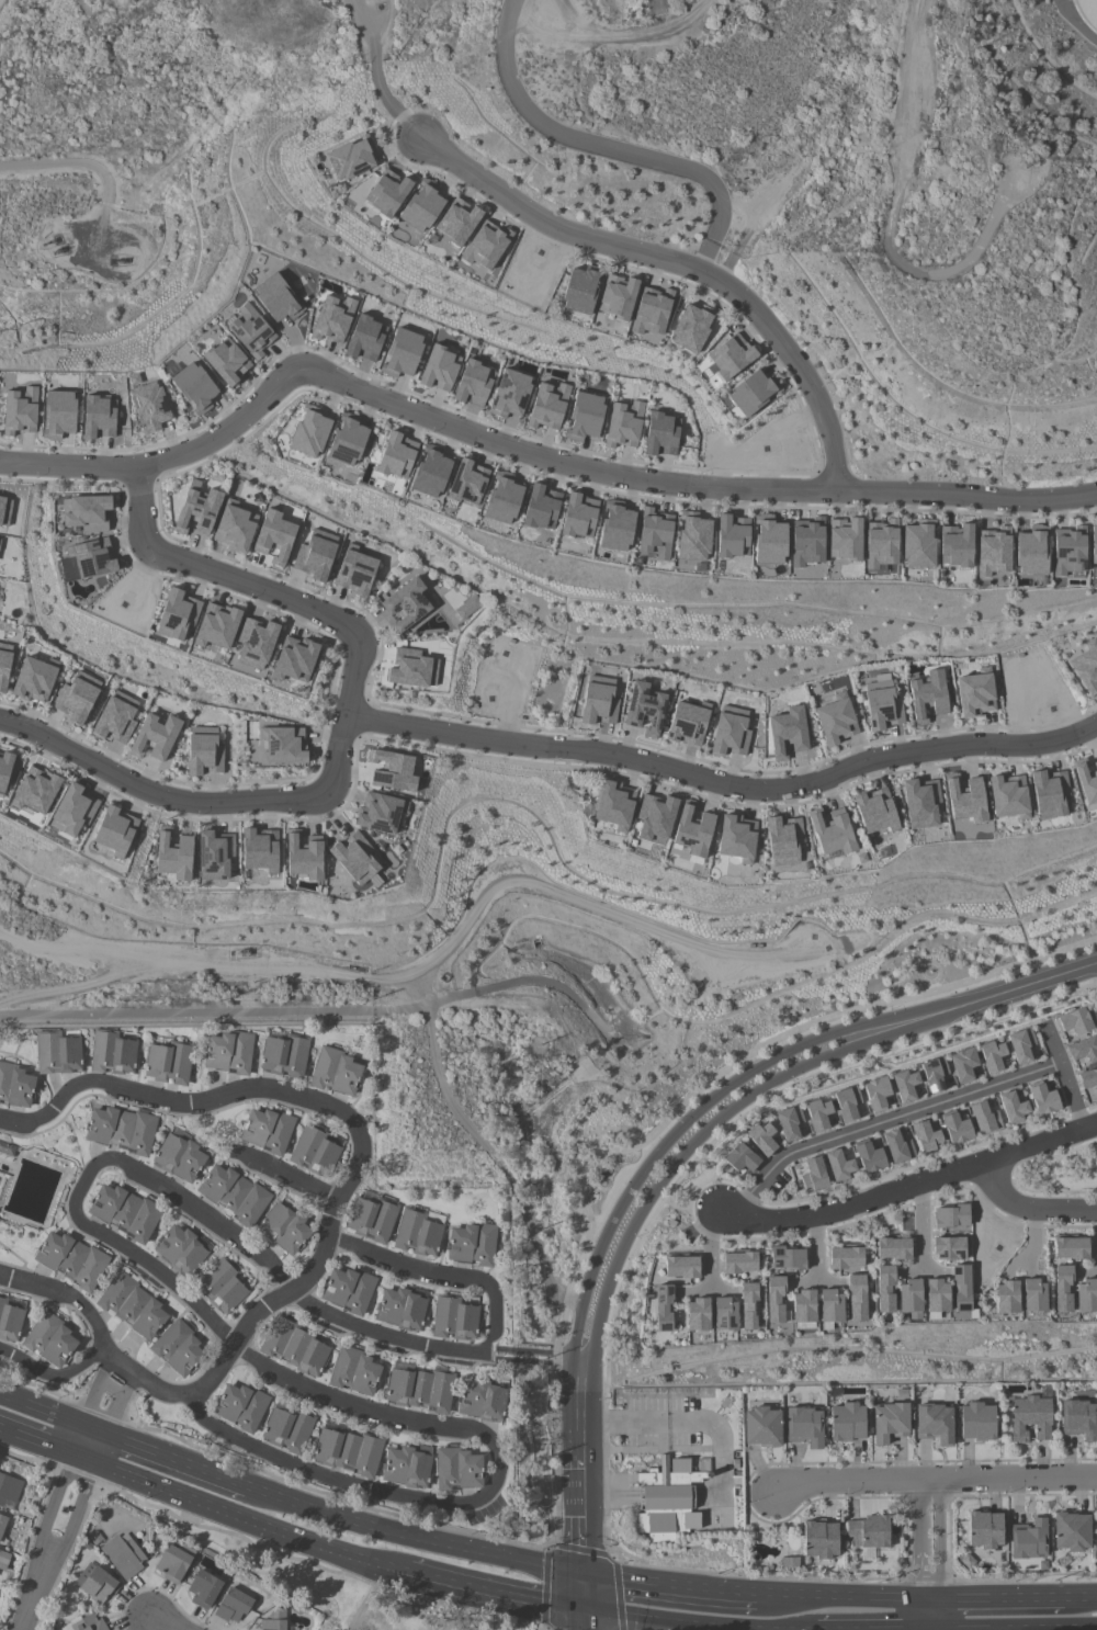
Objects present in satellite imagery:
building: (1083, 15)
storage tank: (1083, 15)
road: (638, 38)
road: (382, 75)
road: (606, 146)
building: (350, 159)
road: (77, 161)
building: (386, 192)
building: (421, 206)
building: (456, 220)
petroleum well: (49, 241)
building: (485, 245)
petroleum well: (59, 248)
road: (900, 250)
petroleum well: (121, 260)
road: (686, 264)
building: (579, 290)
building: (617, 296)
building: (276, 298)
building: (651, 310)
building: (335, 317)
building: (690, 328)
building: (250, 330)
building: (365, 338)
building: (400, 352)
building: (730, 355)
building: (226, 360)
building: (439, 369)
building: (473, 383)
building: (194, 386)
building: (509, 393)
building: (750, 393)
building: (147, 403)
building: (547, 405)
building: (20, 410)
building: (58, 414)
building: (584, 416)
building: (98, 417)
building: (623, 425)
building: (309, 431)
building: (661, 434)
building: (349, 438)
building: (396, 455)
road: (599, 471)
building: (430, 473)
building: (466, 482)
building: (501, 498)
building: (541, 507)
building: (196, 508)
building: (4, 510)
building: (86, 512)
building: (578, 516)
building: (235, 527)
building: (615, 528)
building: (654, 533)
building: (273, 536)
building: (692, 536)
building: (732, 536)
building: (844, 539)
building: (0, 540)
building: (768, 540)
building: (806, 542)
building: (880, 544)
building: (918, 544)
building: (1093, 544)
building: (955, 545)
building: (993, 551)
building: (1031, 551)
building: (1067, 551)
building: (315, 554)
building: (89, 557)
building: (354, 570)
building: (405, 604)
building: (467, 607)
building: (176, 614)
building: (216, 625)
building: (255, 643)
building: (294, 659)
road: (357, 659)
building: (4, 665)
building: (1086, 666)
building: (411, 668)
building: (33, 680)
building: (975, 693)
building: (926, 694)
building: (77, 697)
building: (598, 700)
building: (881, 703)
building: (644, 709)
building: (115, 717)
building: (835, 720)
building: (688, 722)
building: (730, 732)
building: (787, 732)
building: (155, 736)
building: (203, 750)
building: (4, 770)
building: (392, 770)
building: (1086, 781)
road: (724, 784)
building: (34, 791)
building: (1049, 793)
building: (1008, 796)
building: (965, 799)
building: (920, 803)
building: (613, 804)
building: (72, 810)
building: (874, 811)
building: (380, 812)
building: (655, 818)
building: (115, 830)
building: (691, 830)
building: (832, 831)
building: (736, 837)
building: (783, 840)
building: (259, 849)
building: (214, 854)
building: (173, 856)
building: (304, 857)
building: (355, 859)
petroleum well: (245, 950)
road: (1002, 993)
road: (303, 1012)
building: (1075, 1021)
building: (1021, 1044)
building: (1084, 1050)
building: (228, 1052)
building: (57, 1053)
building: (112, 1053)
building: (283, 1056)
building: (992, 1056)
building: (168, 1063)
building: (963, 1064)
building: (335, 1072)
building: (934, 1074)
road: (1066, 1078)
building: (1088, 1079)
building: (14, 1085)
building: (905, 1085)
building: (875, 1093)
building: (1042, 1098)
building: (847, 1102)
road: (185, 1103)
road: (1092, 1106)
building: (1013, 1107)
road: (1076, 1110)
building: (818, 1113)
building: (984, 1118)
road: (883, 1119)
road: (685, 1122)
building: (789, 1122)
building: (802, 1128)
building: (955, 1128)
building: (121, 1130)
building: (265, 1130)
building: (926, 1135)
road: (701, 1136)
building: (762, 1137)
building: (897, 1146)
building: (7, 1148)
road: (627, 1150)
road: (703, 1151)
building: (314, 1152)
building: (178, 1157)
building: (869, 1157)
building: (740, 1158)
road: (710, 1164)
building: (838, 1165)
road: (915, 1165)
road: (1014, 1174)
building: (813, 1175)
road: (286, 1176)
road: (991, 1178)
road: (701, 1182)
road: (906, 1187)
building: (233, 1193)
road: (749, 1195)
road: (979, 1195)
road: (920, 1199)
road: (675, 1207)
road: (1029, 1208)
building: (124, 1211)
road: (868, 1216)
building: (950, 1216)
building: (372, 1218)
road: (1033, 1225)
road: (923, 1226)
road: (1066, 1226)
road: (1094, 1226)
building: (284, 1229)
road: (815, 1231)
road: (703, 1233)
building: (417, 1234)
road: (1033, 1235)
road: (762, 1237)
building: (471, 1244)
road: (710, 1248)
building: (892, 1248)
building: (948, 1248)
building: (1070, 1248)
building: (180, 1249)
road: (815, 1250)
building: (845, 1257)
building: (787, 1258)
building: (70, 1259)
building: (738, 1263)
building: (680, 1266)
road: (276, 1275)
road: (444, 1277)
road: (304, 1284)
building: (222, 1288)
building: (884, 1288)
building: (960, 1288)
building: (1061, 1288)
building: (348, 1290)
building: (908, 1295)
building: (936, 1295)
building: (1032, 1295)
building: (1085, 1295)
building: (1005, 1297)
building: (773, 1298)
building: (856, 1298)
road: (71, 1300)
building: (132, 1305)
building: (748, 1305)
building: (803, 1305)
building: (830, 1305)
building: (402, 1308)
building: (661, 1308)
building: (697, 1314)
building: (724, 1314)
building: (453, 1318)
building: (10, 1322)
building: (49, 1339)
building: (177, 1347)
building: (294, 1347)
road: (541, 1357)
road: (104, 1368)
building: (353, 1371)
road: (53, 1374)
road: (276, 1374)
road: (129, 1382)
road: (154, 1382)
road: (111, 1386)
building: (419, 1389)
road: (91, 1401)
building: (480, 1401)
road: (585, 1401)
building: (240, 1406)
road: (52, 1411)
road: (113, 1411)
building: (1029, 1417)
building: (1078, 1419)
building: (976, 1420)
building: (846, 1422)
building: (889, 1422)
building: (934, 1423)
road: (625, 1425)
building: (803, 1426)
building: (761, 1427)
building: (286, 1429)
road: (78, 1438)
road: (46, 1444)
road: (99, 1445)
building: (347, 1451)
road: (176, 1457)
building: (406, 1467)
building: (457, 1469)
road: (324, 1476)
road: (932, 1484)
building: (9, 1488)
road: (710, 1495)
building: (666, 1501)
road: (218, 1506)
road: (55, 1508)
road: (77, 1516)
road: (585, 1520)
building: (2, 1523)
building: (1096, 1525)
building: (984, 1529)
building: (868, 1531)
building: (1071, 1531)
road: (414, 1539)
building: (819, 1539)
building: (1028, 1539)
building: (123, 1554)
road: (930, 1558)
building: (3, 1560)
road: (369, 1560)
building: (172, 1563)
traffic signals: (585, 1580)
building: (95, 1583)
road: (670, 1588)
building: (203, 1589)
road: (488, 1592)
road: (585, 1596)
road: (1081, 1596)
road: (36, 1597)
road: (997, 1598)
road: (842, 1599)
traffic signals: (930, 1600)
building: (233, 1605)
traffic signals: (585, 1614)
building: (273, 1620)
road: (585, 1621)
building: (88, 1622)
road: (699, 1623)
road: (161, 1625)
road: (872, 1629)
traffic signals: (929, 1629)
road: (1013, 1629)

